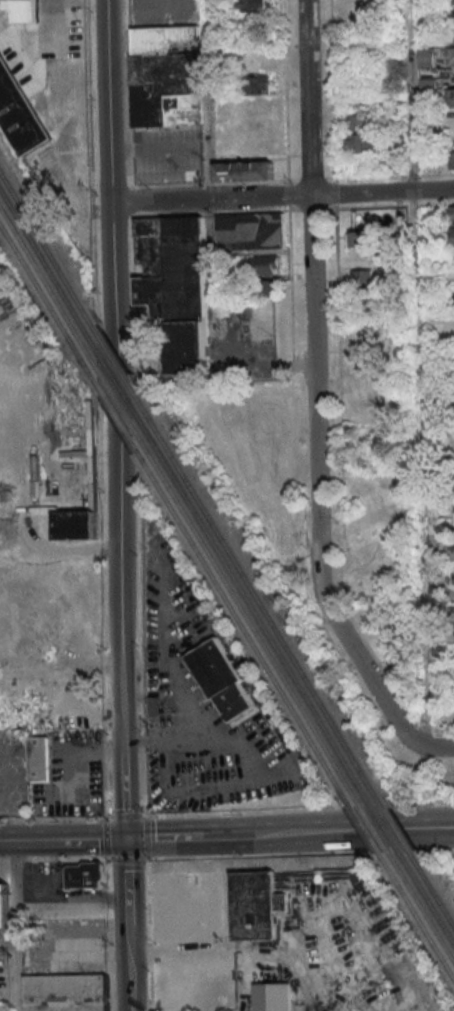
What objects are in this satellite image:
building: (254, 6)
building: (23, 9)
building: (449, 11)
building: (450, 35)
building: (450, 56)
building: (424, 57)
building: (164, 77)
building: (257, 85)
building: (427, 85)
building: (449, 107)
building: (357, 122)
building: (362, 143)
road: (186, 145)
building: (451, 160)
building: (244, 171)
road: (281, 197)
building: (451, 215)
building: (248, 231)
building: (451, 236)
building: (357, 239)
railway: (43, 249)
building: (264, 265)
railway: (44, 267)
building: (360, 278)
railway: (45, 283)
building: (175, 286)
building: (269, 286)
building: (452, 296)
railway: (44, 299)
railway: (114, 364)
road: (238, 365)
road: (112, 376)
railway: (114, 384)
railway: (115, 401)
road: (312, 407)
railway: (115, 418)
building: (78, 445)
park: (254, 456)
road: (136, 505)
building: (74, 527)
railway: (257, 600)
railway: (251, 611)
railway: (247, 620)
railway: (242, 630)
building: (221, 679)
road: (199, 735)
building: (38, 765)
parking lot: (12, 774)
parking lot: (72, 780)
road: (121, 796)
road: (226, 811)
railway: (382, 828)
railway: (392, 828)
railway: (372, 829)
railway: (363, 830)
road: (288, 833)
road: (67, 839)
traffic signals: (123, 839)
road: (6, 841)
road: (299, 854)
road: (52, 859)
road: (125, 859)
building: (80, 875)
building: (359, 880)
road: (124, 881)
building: (187, 896)
railway: (433, 896)
road: (52, 904)
railway: (428, 904)
building: (4, 905)
building: (253, 905)
railway: (423, 913)
railway: (418, 922)
road: (14, 926)
road: (7, 949)
road: (126, 967)
building: (62, 992)
building: (271, 997)

